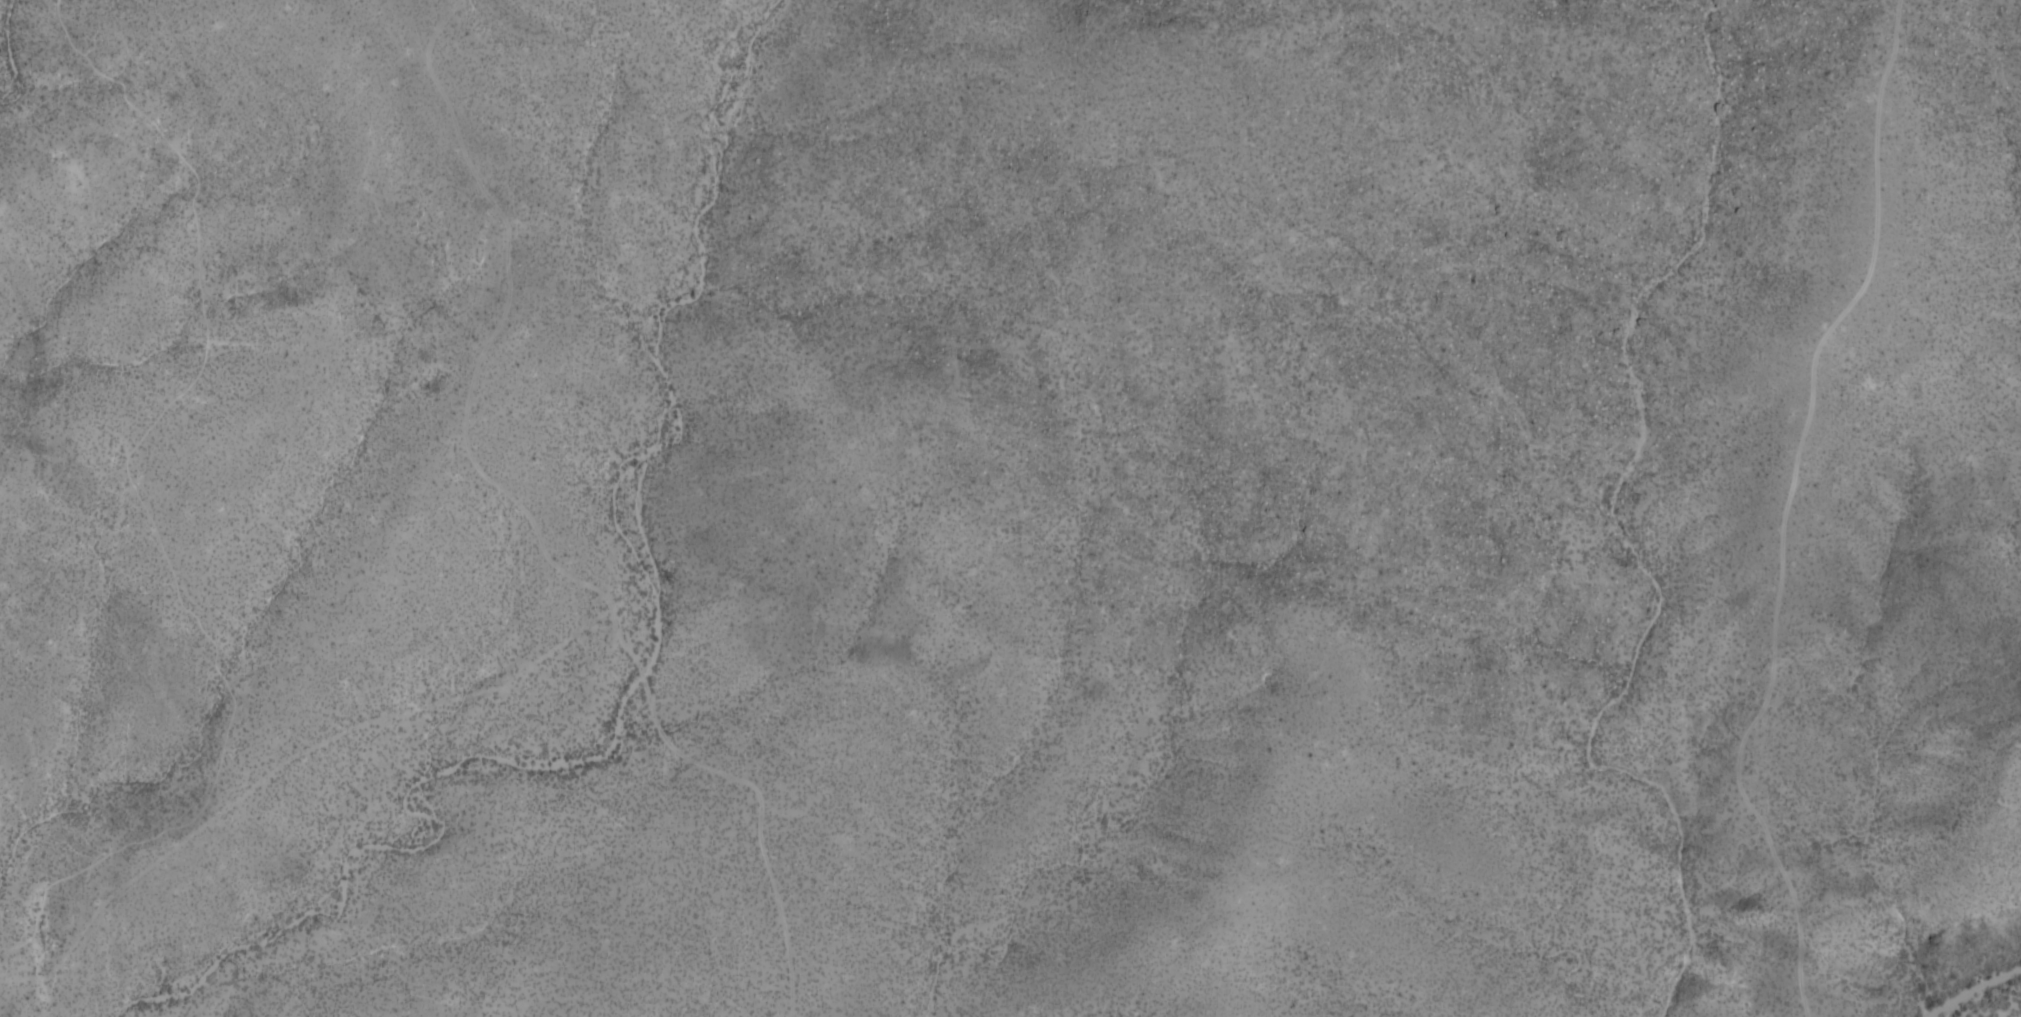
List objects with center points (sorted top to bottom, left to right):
road: (140, 503)

